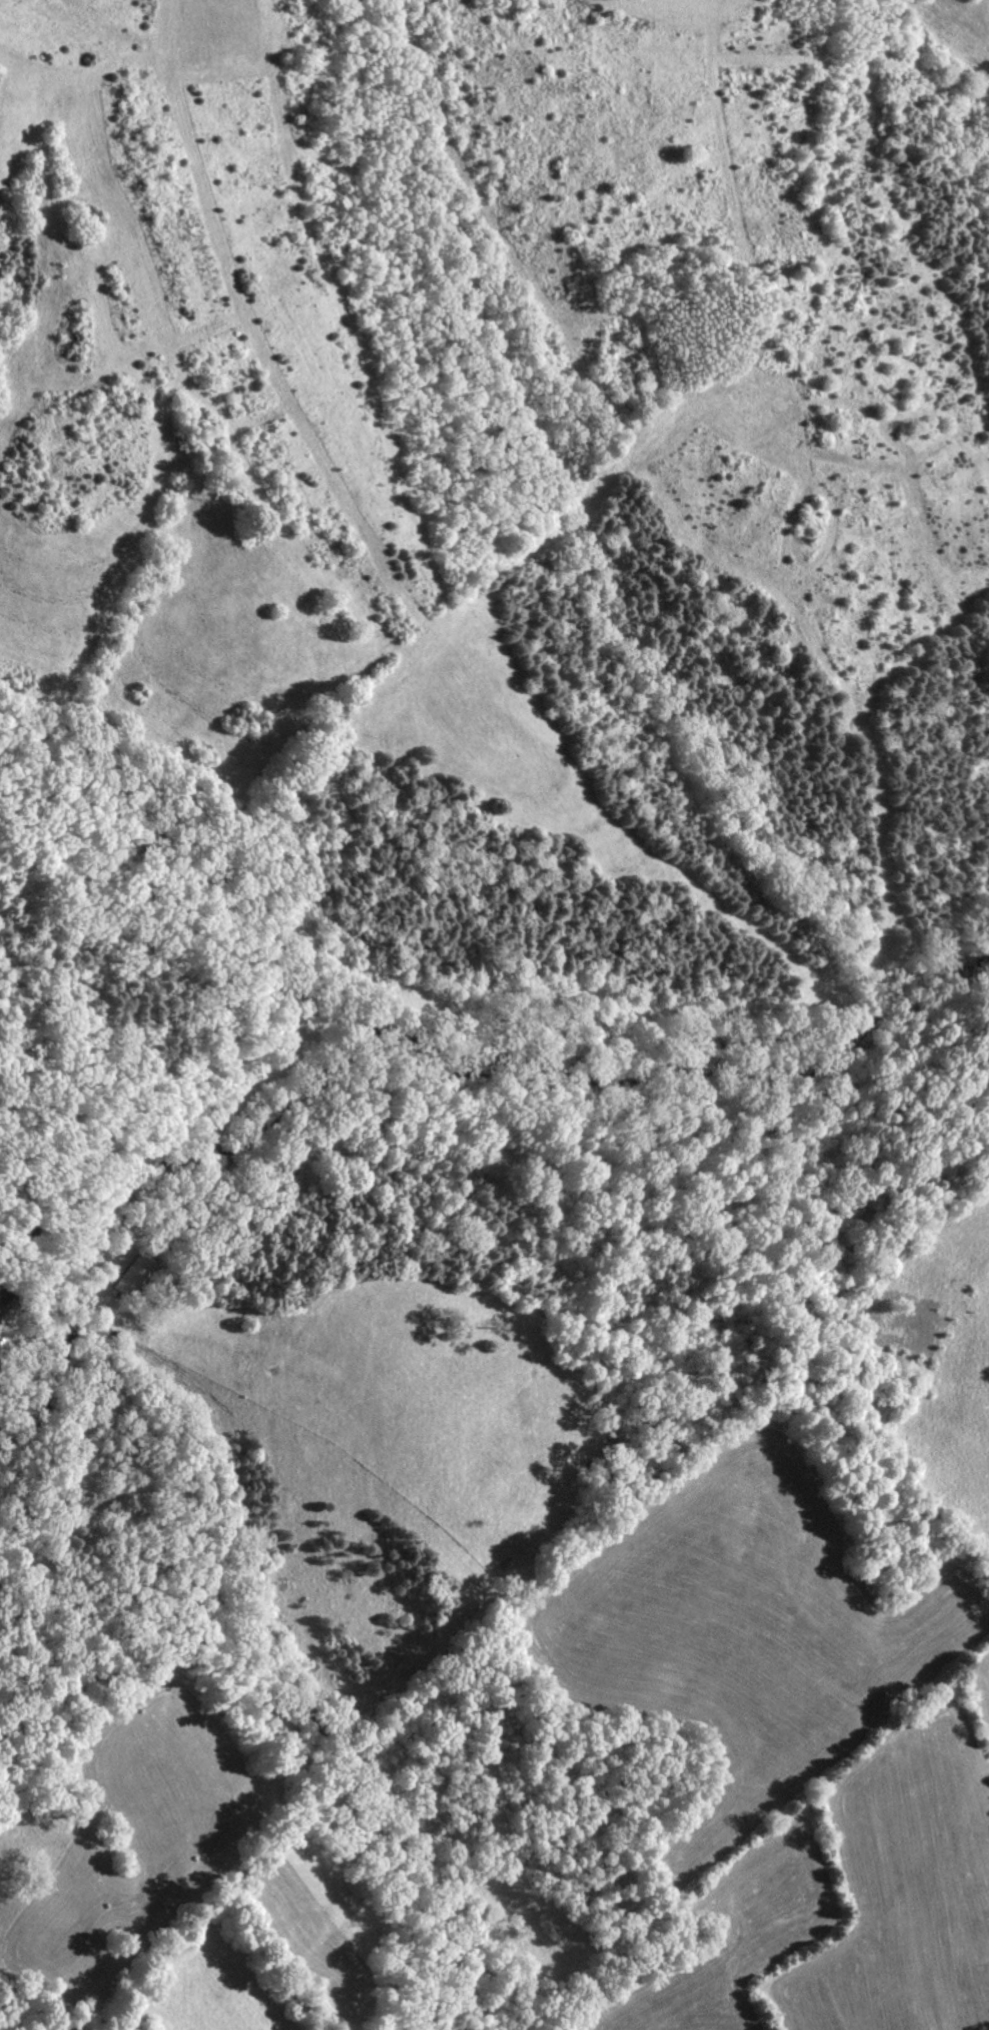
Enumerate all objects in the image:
building: (134, 1272)

